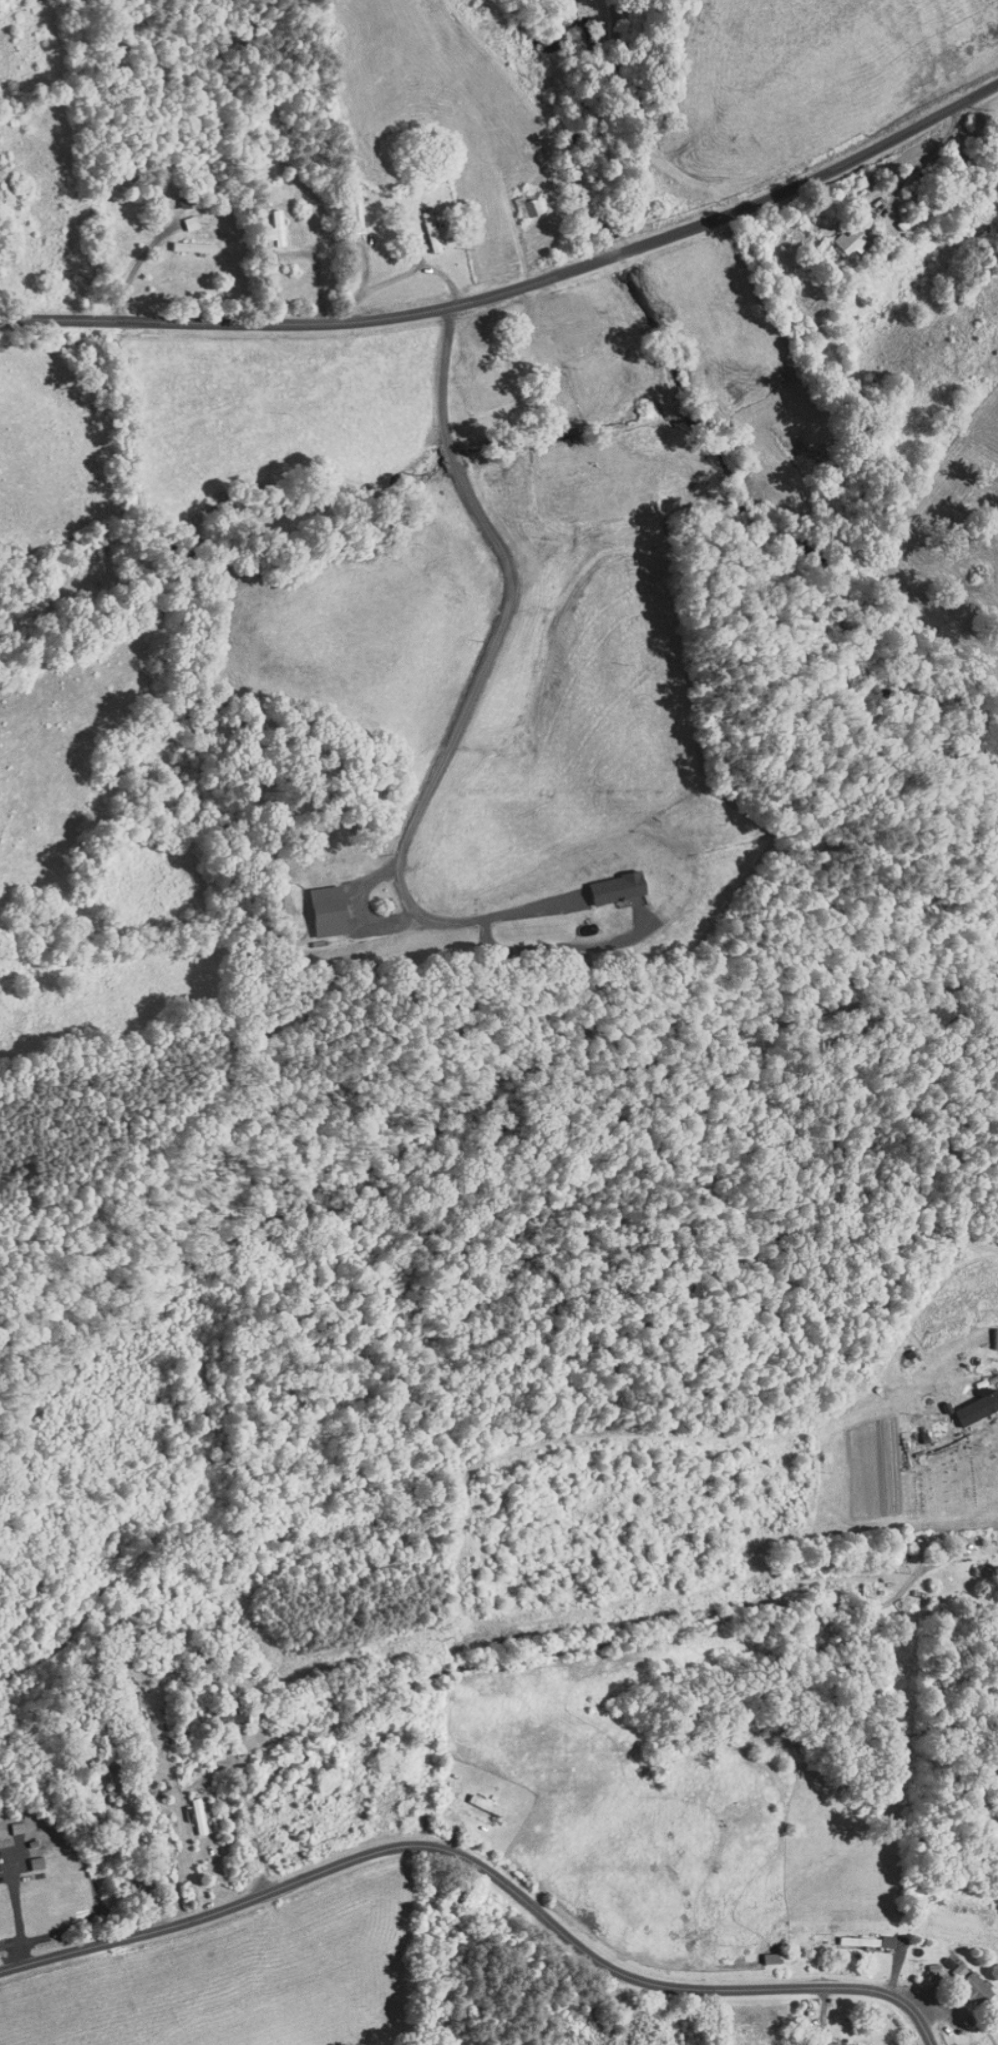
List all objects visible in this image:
building: (520, 197)
building: (179, 216)
building: (266, 221)
building: (841, 234)
building: (183, 240)
road: (517, 283)
building: (536, 297)
road: (431, 369)
road: (440, 450)
road: (430, 754)
building: (606, 882)
building: (318, 904)
building: (970, 1399)
road: (499, 1669)
building: (223, 1710)
building: (476, 1798)
building: (188, 1809)
road: (482, 1866)
building: (856, 1934)
building: (948, 1964)
building: (965, 1982)
building: (837, 2041)

